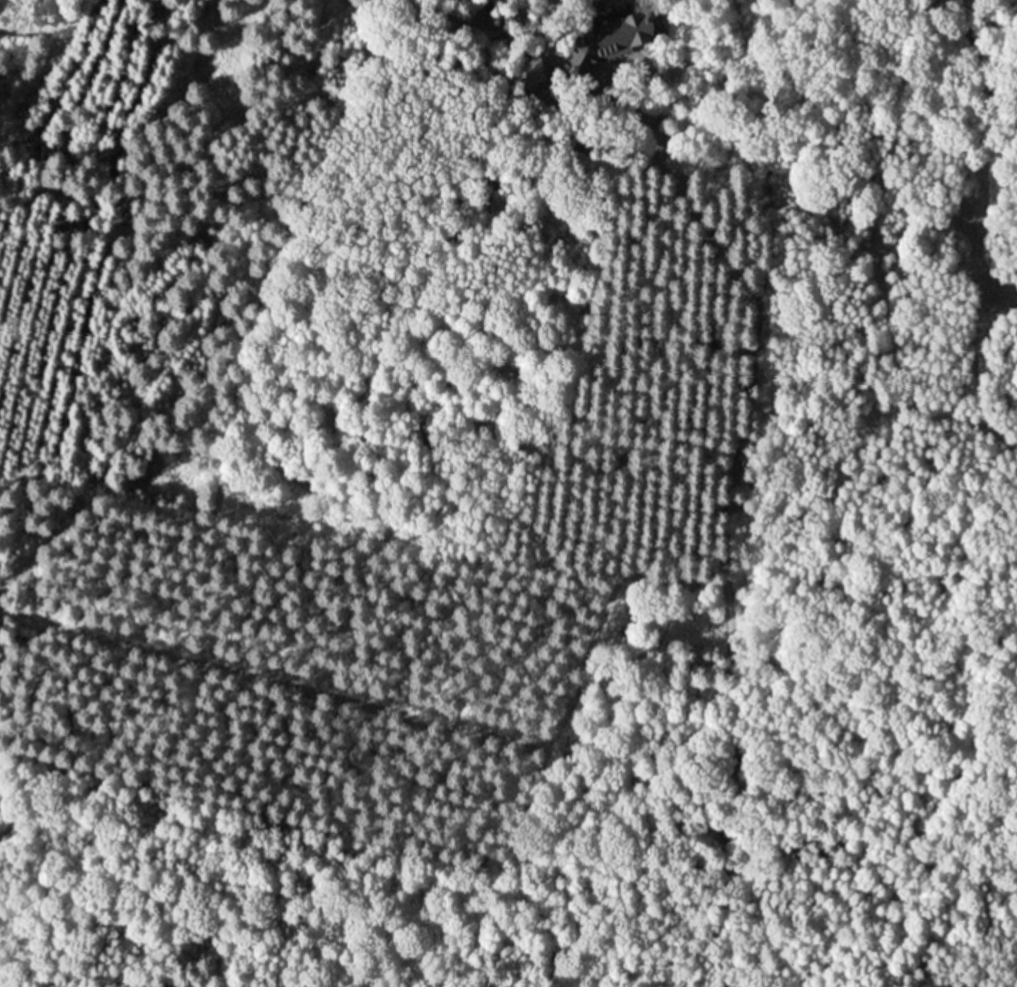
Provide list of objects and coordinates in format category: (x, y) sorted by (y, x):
building: (616, 37)
road: (1, 828)

